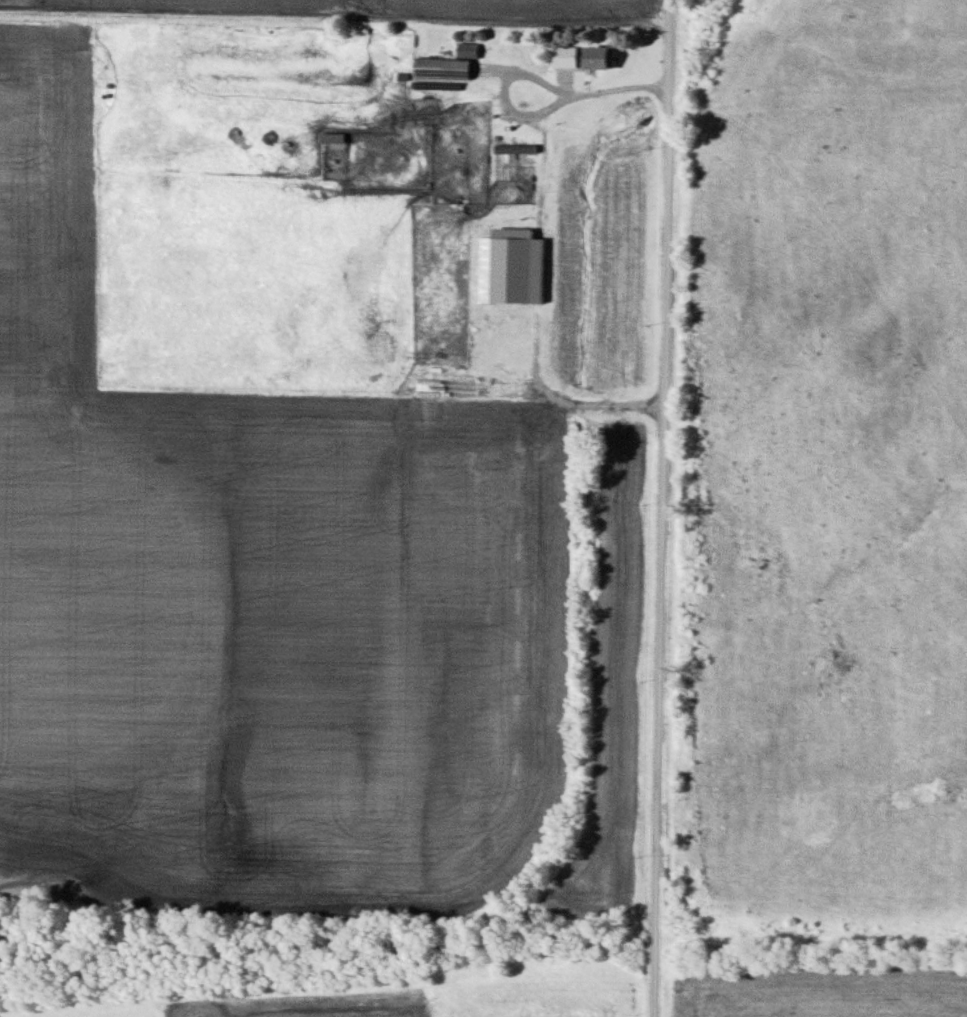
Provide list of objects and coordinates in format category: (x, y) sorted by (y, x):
building: (602, 58)
building: (444, 69)
building: (563, 134)
building: (333, 138)
building: (522, 153)
road: (654, 508)

